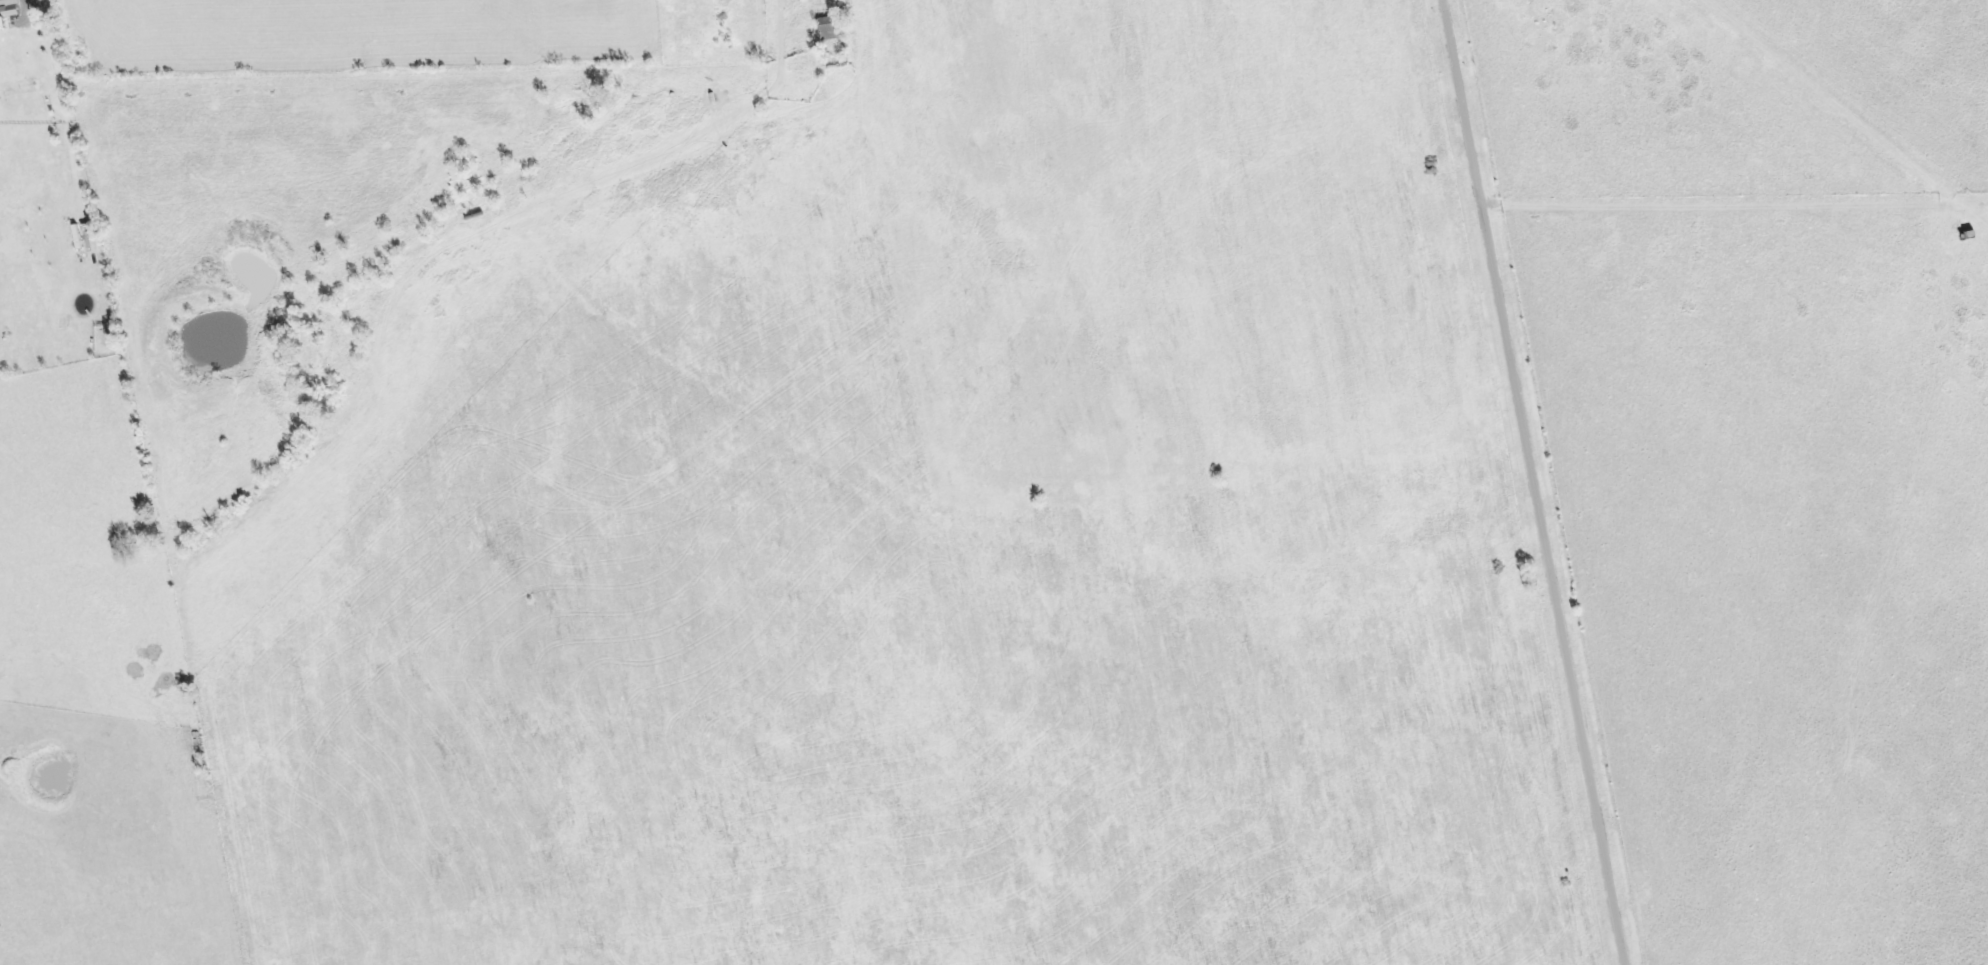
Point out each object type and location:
building: (9, 13)
road: (1531, 482)

